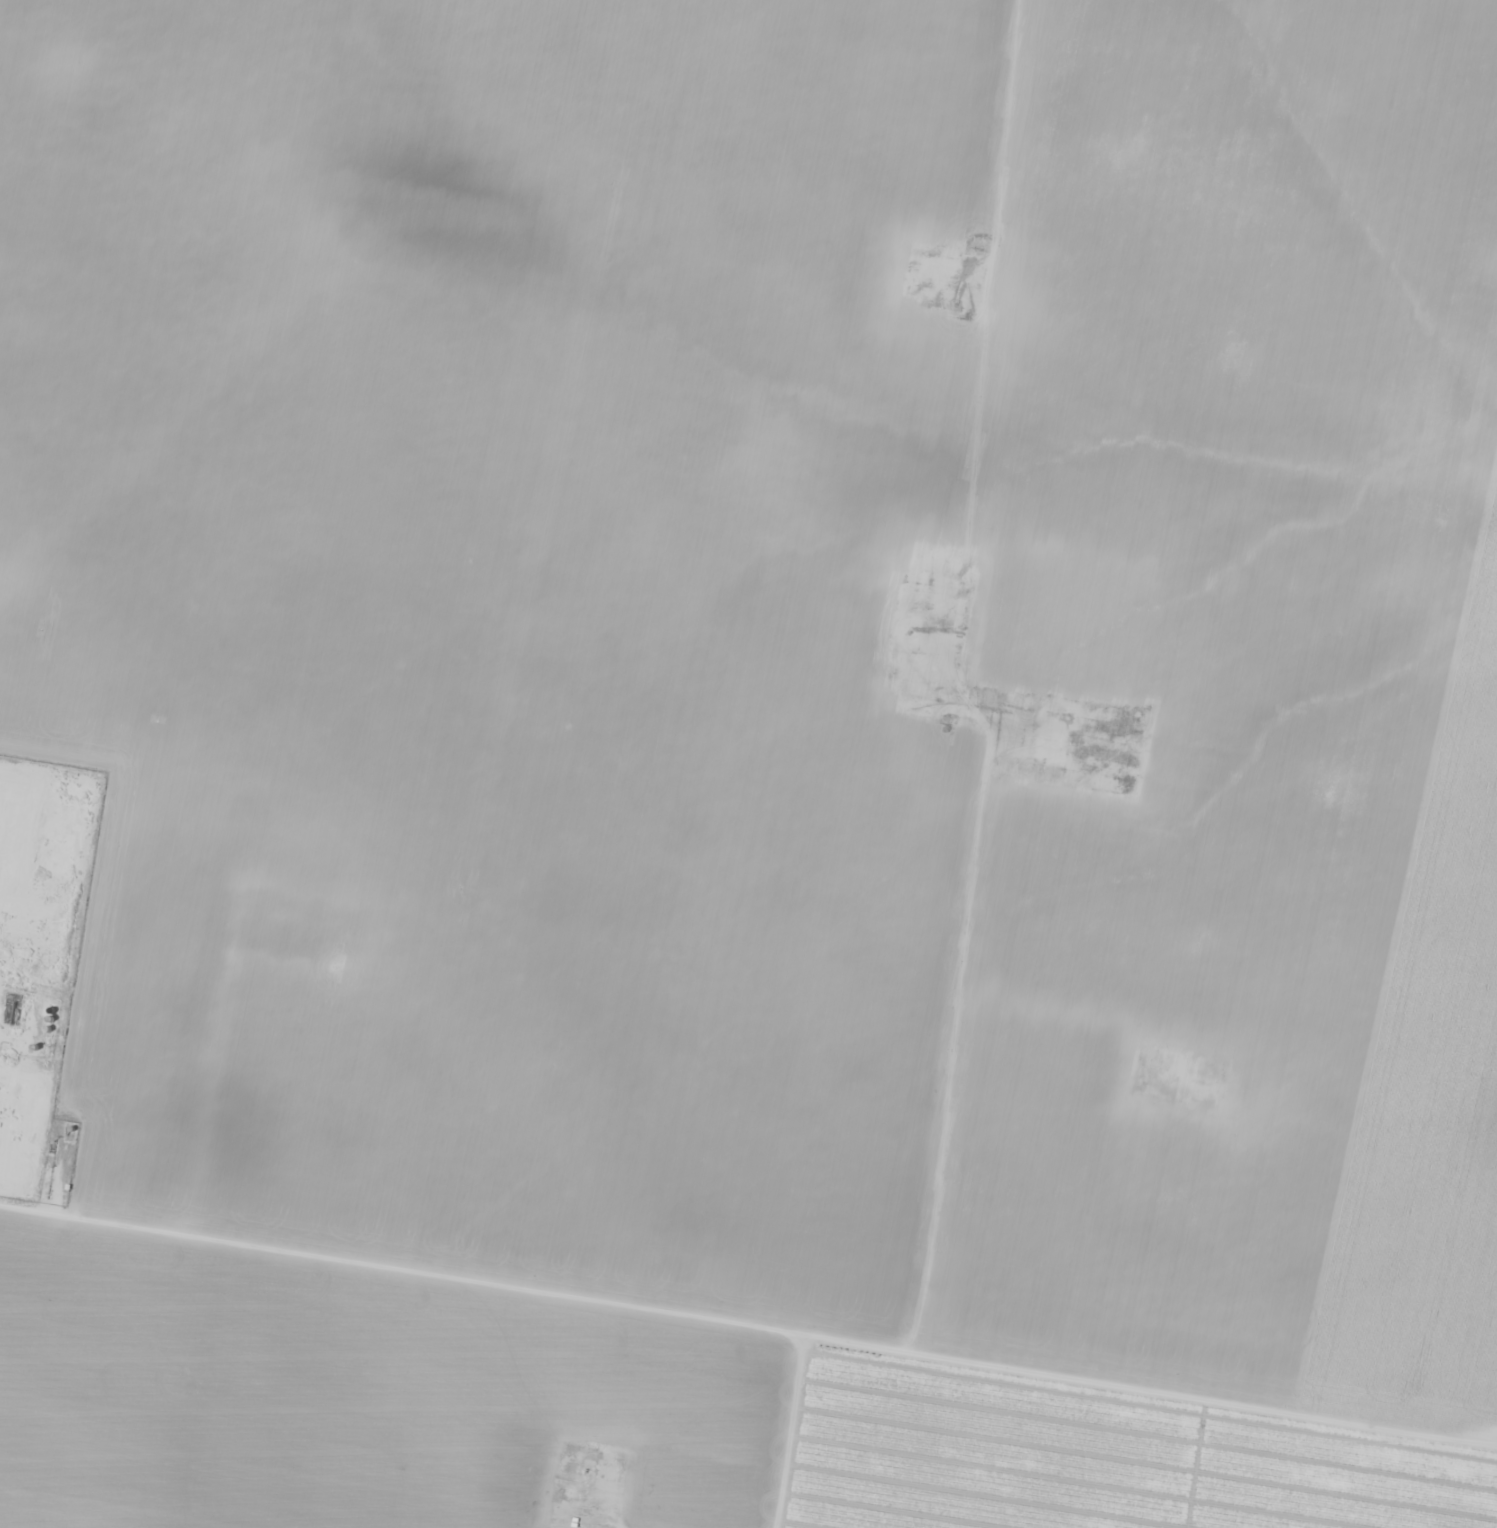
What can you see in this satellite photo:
road: (368, 1299)
road: (1017, 1424)

